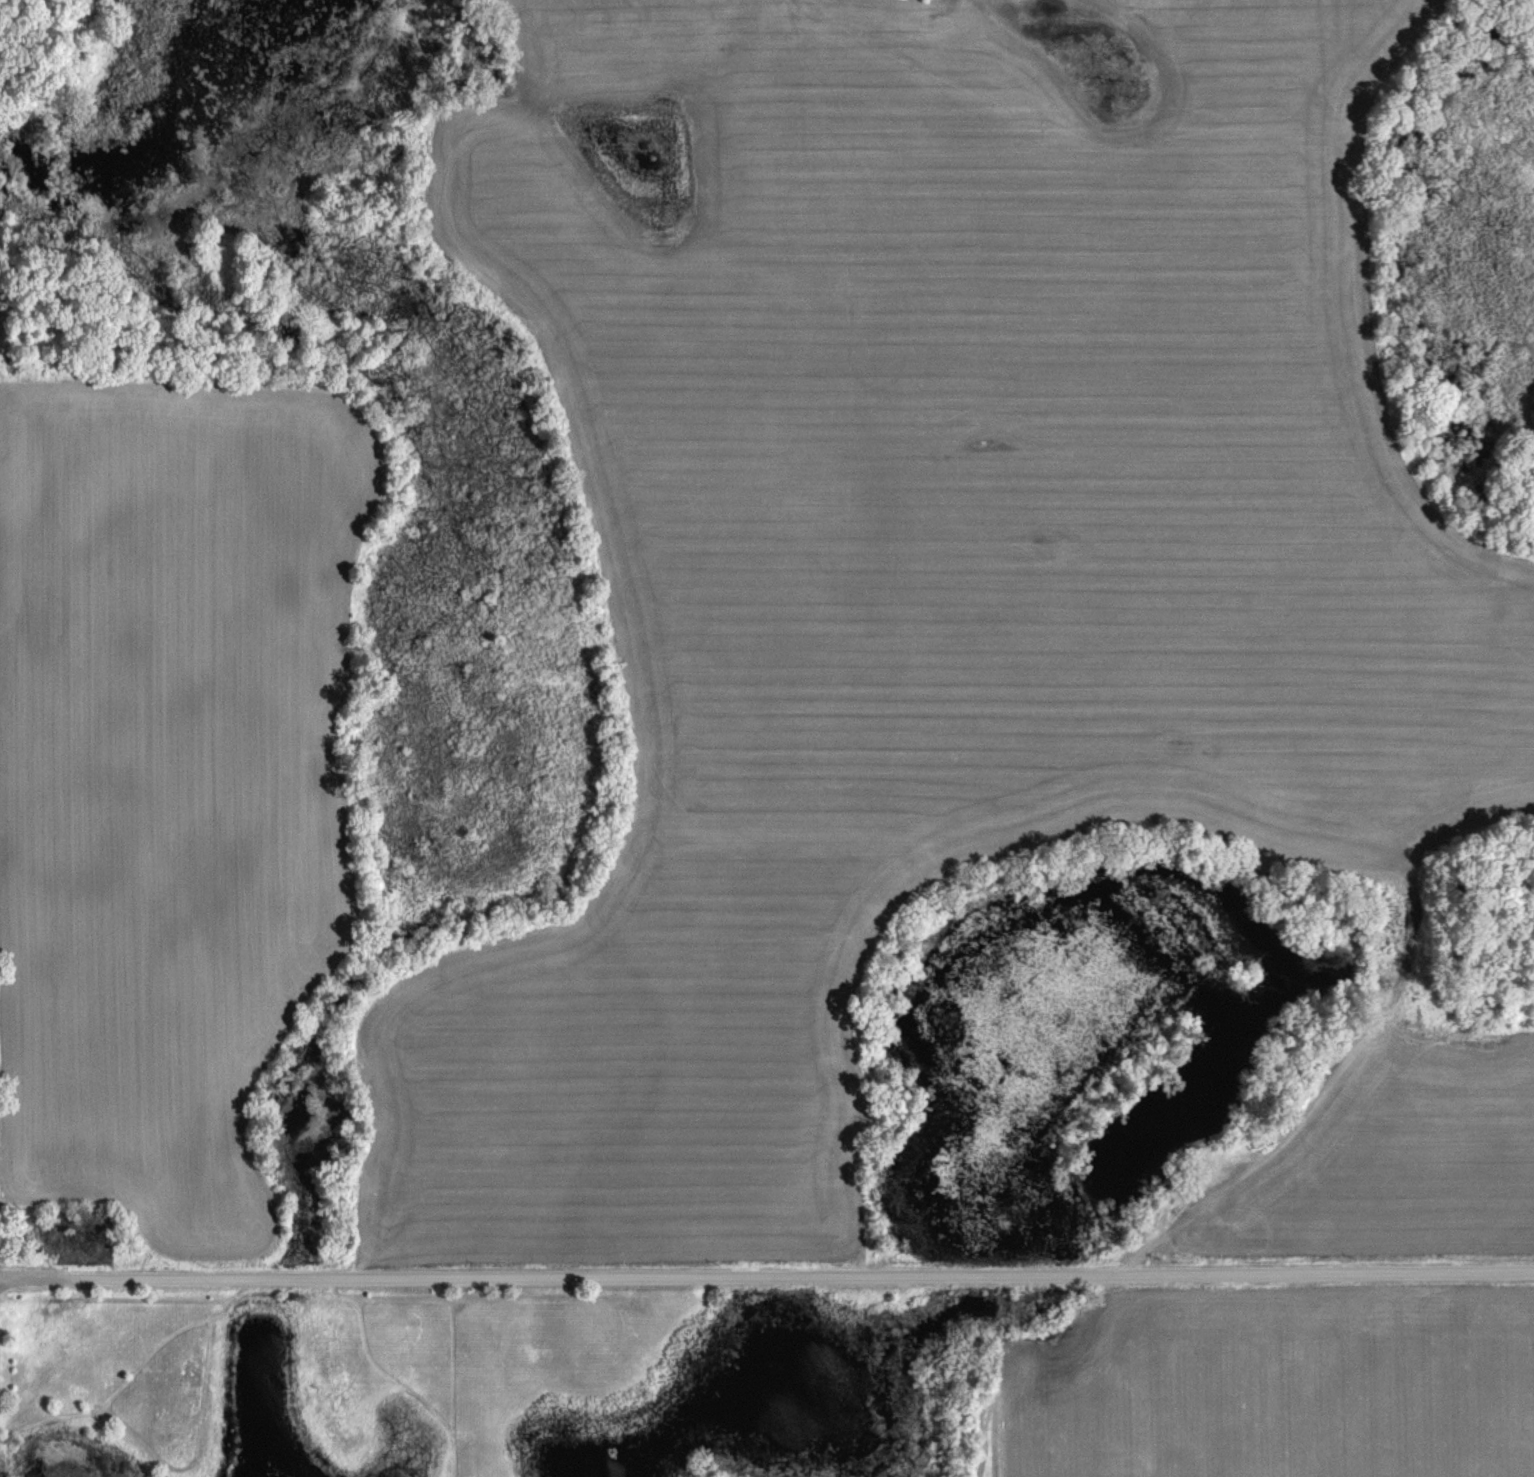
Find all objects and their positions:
crop: (922, 556)
crop: (174, 775)
crop: (1386, 1150)
road: (767, 1275)
crop: (1279, 1386)

